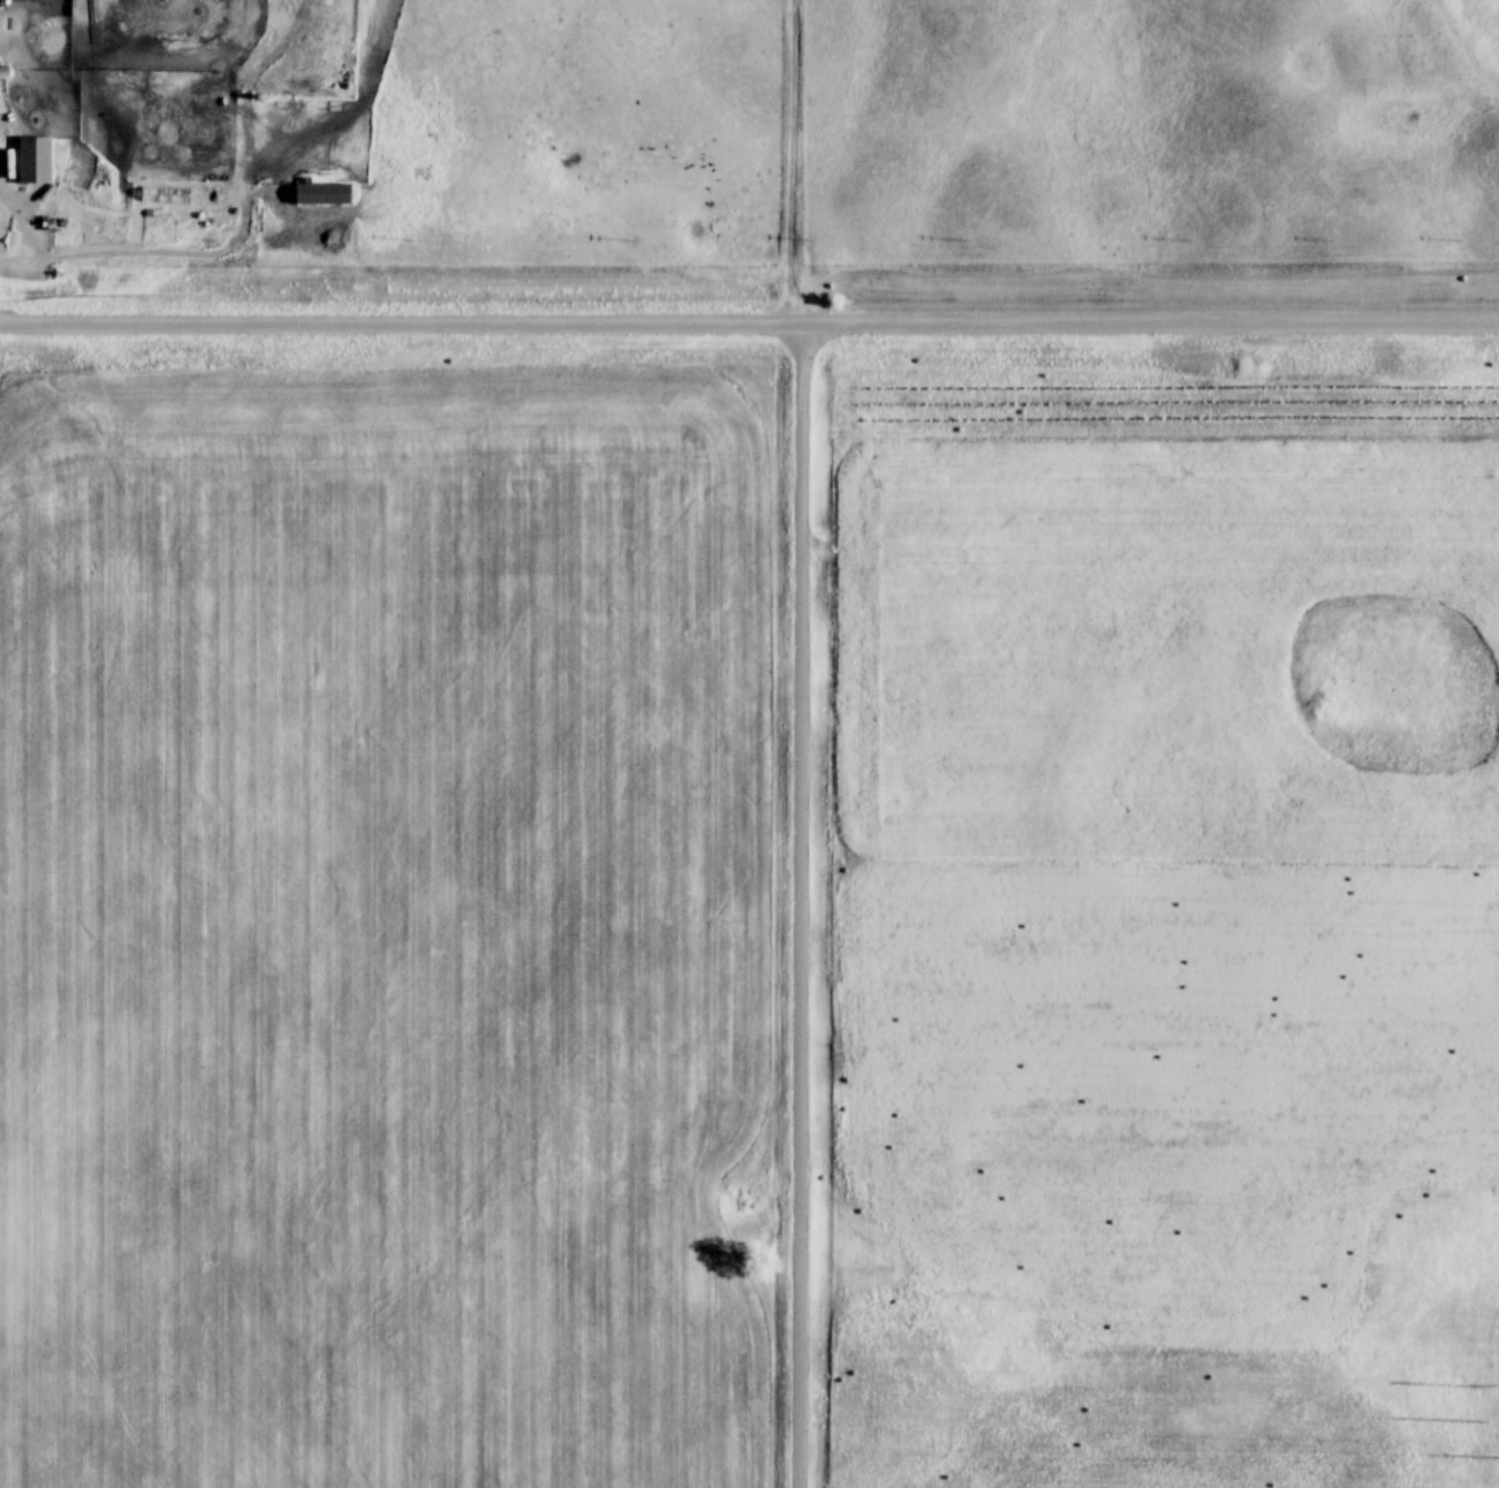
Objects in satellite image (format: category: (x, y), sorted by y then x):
building: (35, 160)
road: (791, 163)
building: (323, 193)
road: (749, 323)
road: (800, 905)

